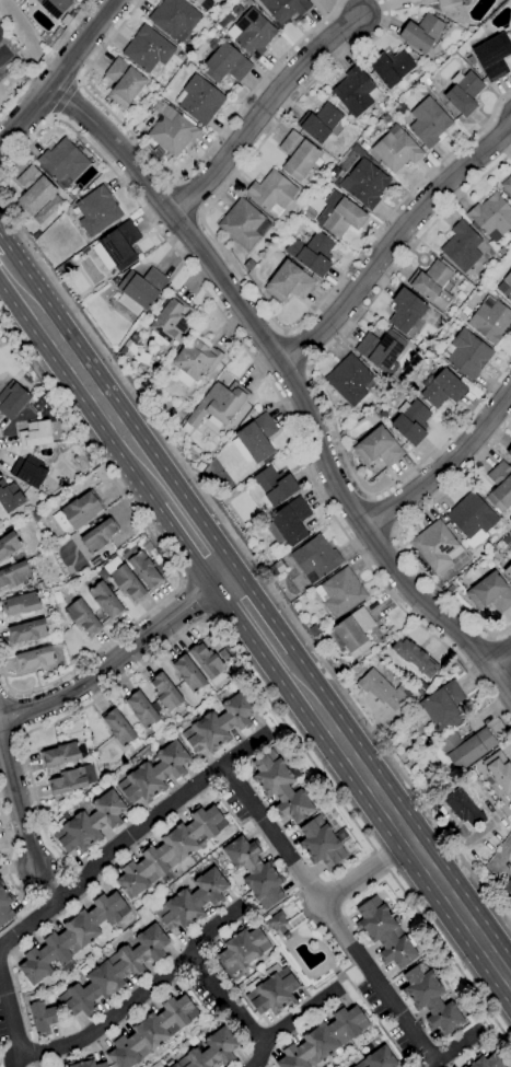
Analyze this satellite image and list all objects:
building: (423, 1)
building: (461, 1)
building: (202, 3)
building: (448, 4)
building: (55, 7)
building: (284, 8)
building: (174, 19)
building: (252, 33)
building: (420, 33)
building: (4, 49)
building: (147, 49)
building: (492, 56)
road: (45, 60)
building: (224, 62)
building: (391, 68)
road: (59, 72)
building: (1, 73)
building: (123, 82)
building: (355, 91)
building: (464, 92)
road: (65, 100)
building: (199, 100)
road: (264, 111)
building: (321, 123)
building: (428, 123)
building: (172, 131)
building: (396, 151)
building: (298, 155)
building: (62, 161)
road: (175, 177)
building: (365, 183)
building: (507, 186)
building: (34, 190)
building: (271, 193)
building: (46, 209)
building: (96, 211)
building: (339, 214)
building: (491, 217)
building: (243, 223)
road: (396, 242)
building: (461, 246)
building: (117, 247)
building: (311, 252)
building: (288, 282)
building: (432, 283)
building: (508, 283)
building: (140, 290)
road: (251, 290)
building: (405, 310)
building: (490, 320)
building: (172, 322)
building: (381, 350)
building: (466, 353)
building: (194, 361)
building: (348, 380)
road: (84, 381)
road: (294, 383)
road: (271, 387)
building: (441, 387)
road: (316, 388)
building: (12, 399)
building: (219, 405)
building: (411, 422)
building: (35, 434)
building: (257, 438)
road: (0, 448)
building: (378, 448)
building: (509, 452)
building: (28, 471)
road: (448, 471)
building: (499, 487)
building: (270, 488)
building: (9, 497)
building: (80, 512)
building: (472, 519)
building: (290, 521)
road: (396, 534)
building: (98, 535)
road: (198, 541)
building: (9, 545)
road: (158, 545)
building: (435, 547)
building: (315, 558)
road: (255, 565)
building: (143, 569)
building: (508, 571)
building: (14, 575)
building: (126, 582)
building: (340, 592)
building: (489, 593)
building: (106, 600)
road: (195, 602)
building: (21, 604)
building: (82, 617)
road: (253, 618)
building: (26, 631)
building: (351, 633)
road: (498, 651)
building: (34, 658)
building: (414, 658)
road: (120, 662)
building: (207, 662)
building: (188, 673)
road: (120, 681)
building: (381, 689)
building: (165, 693)
building: (443, 707)
building: (143, 711)
building: (219, 723)
building: (118, 728)
building: (465, 747)
building: (60, 755)
building: (499, 772)
building: (153, 774)
building: (72, 780)
building: (280, 787)
road: (18, 801)
building: (463, 808)
road: (395, 820)
building: (88, 823)
road: (126, 836)
building: (320, 843)
building: (169, 850)
road: (503, 854)
road: (381, 860)
building: (254, 872)
road: (363, 872)
building: (1, 884)
building: (507, 888)
road: (46, 889)
building: (191, 901)
building: (5, 907)
road: (326, 914)
building: (278, 925)
building: (384, 933)
building: (71, 937)
building: (242, 950)
road: (450, 956)
building: (114, 972)
building: (272, 993)
road: (139, 998)
road: (233, 999)
building: (430, 999)
road: (11, 1013)
building: (42, 1018)
road: (291, 1022)
building: (151, 1032)
building: (323, 1039)
road: (452, 1048)
building: (210, 1051)
building: (378, 1059)
road: (15, 1060)
building: (487, 1062)
building: (88, 1064)
building: (464, 1066)

